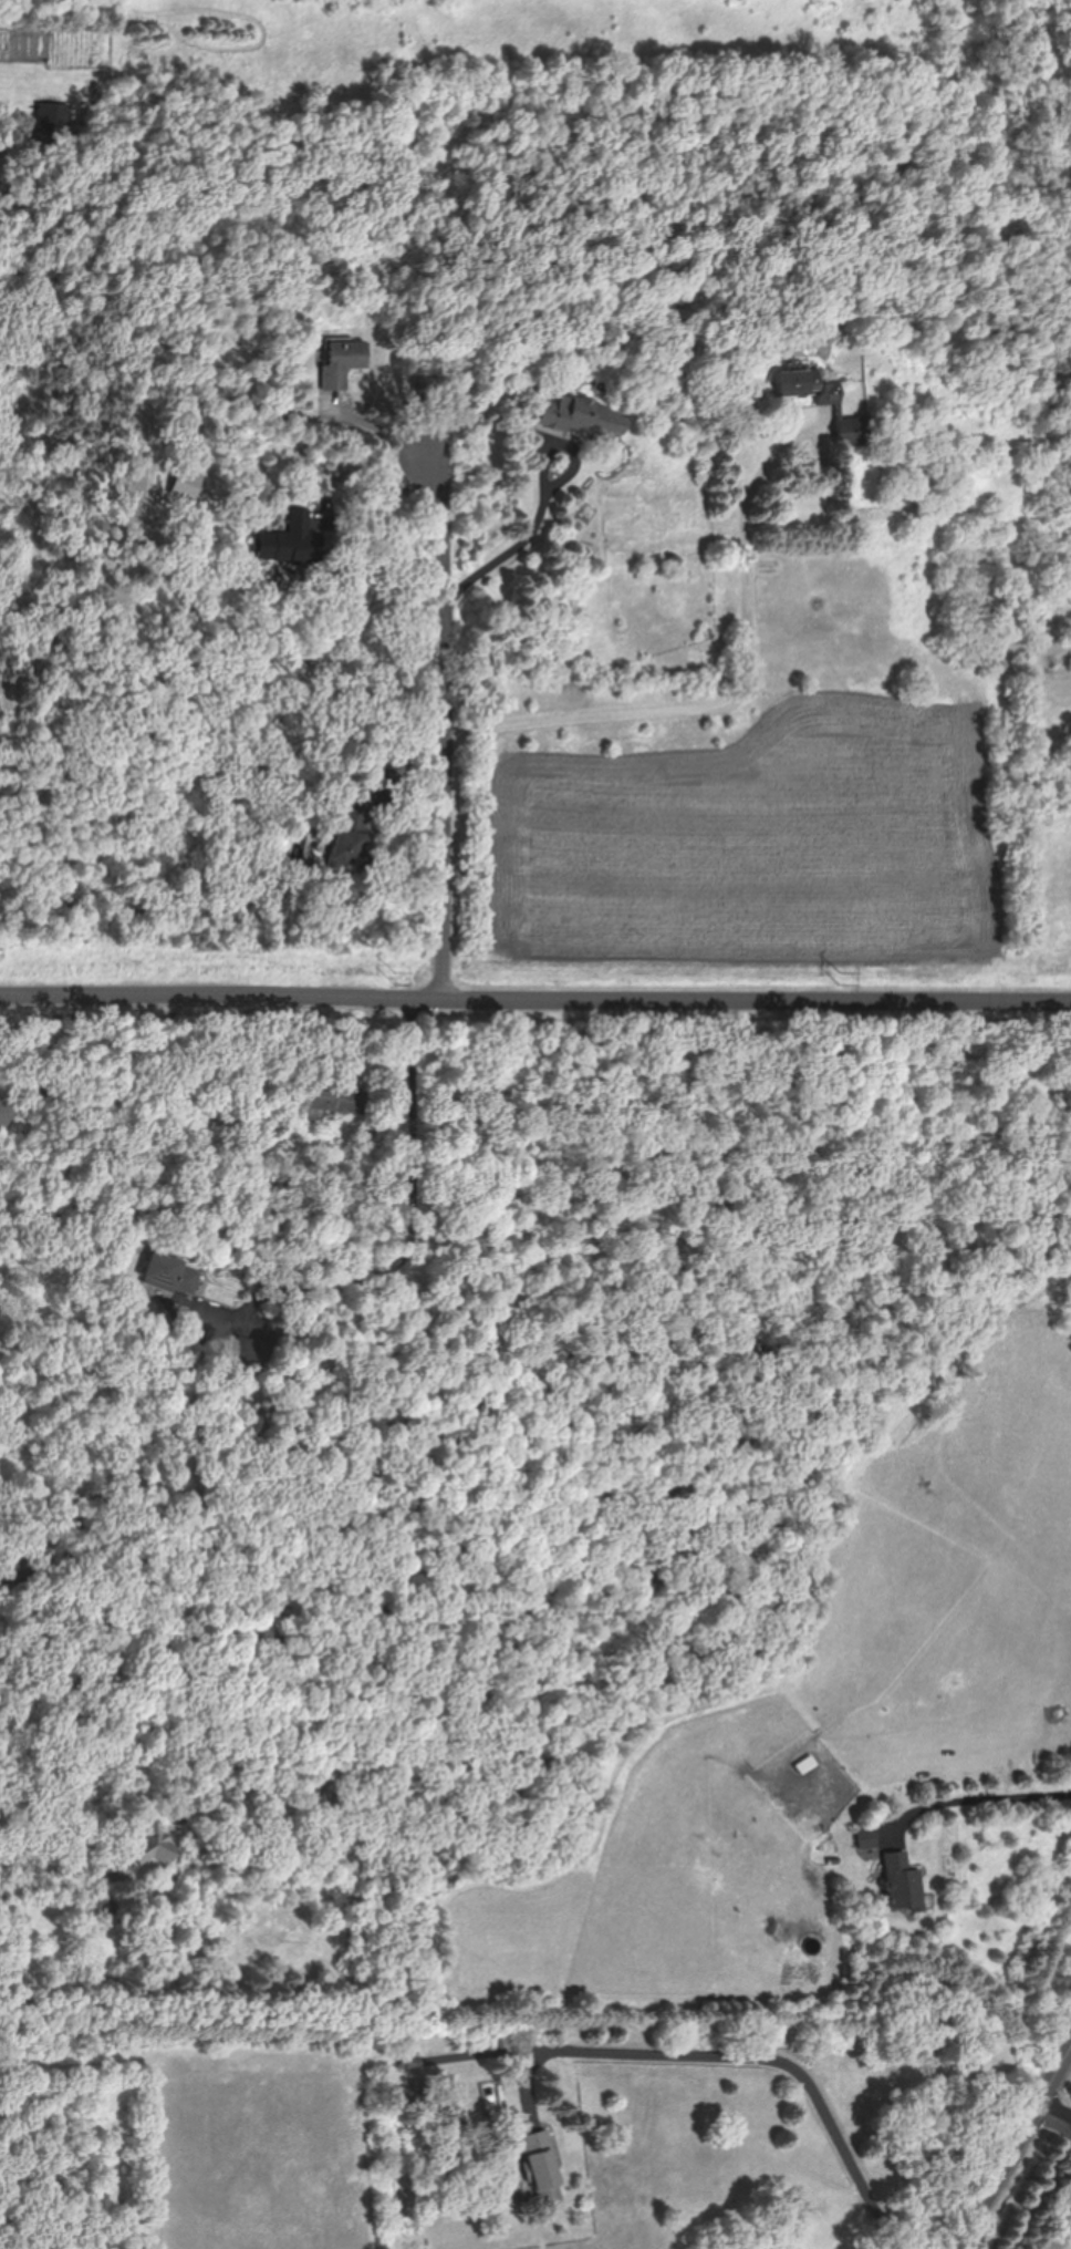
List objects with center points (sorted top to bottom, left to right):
building: (341, 360)
building: (802, 384)
building: (585, 416)
road: (378, 426)
building: (854, 429)
road: (553, 451)
building: (922, 475)
building: (291, 541)
road: (509, 555)
road: (746, 695)
road: (446, 725)
building: (386, 778)
building: (346, 839)
power tower: (842, 977)
power tower: (399, 978)
road: (534, 997)
building: (335, 1096)
building: (3, 1113)
road: (412, 1201)
building: (170, 1272)
building: (25, 1570)
building: (2, 1577)
road: (980, 1804)
road: (40, 1830)
building: (869, 1836)
building: (158, 1851)
building: (904, 1881)
road: (763, 2052)
building: (410, 2061)
building: (417, 2097)
building: (491, 2098)
road: (1057, 2115)
road: (1067, 2117)
road: (1011, 2152)
building: (542, 2166)

